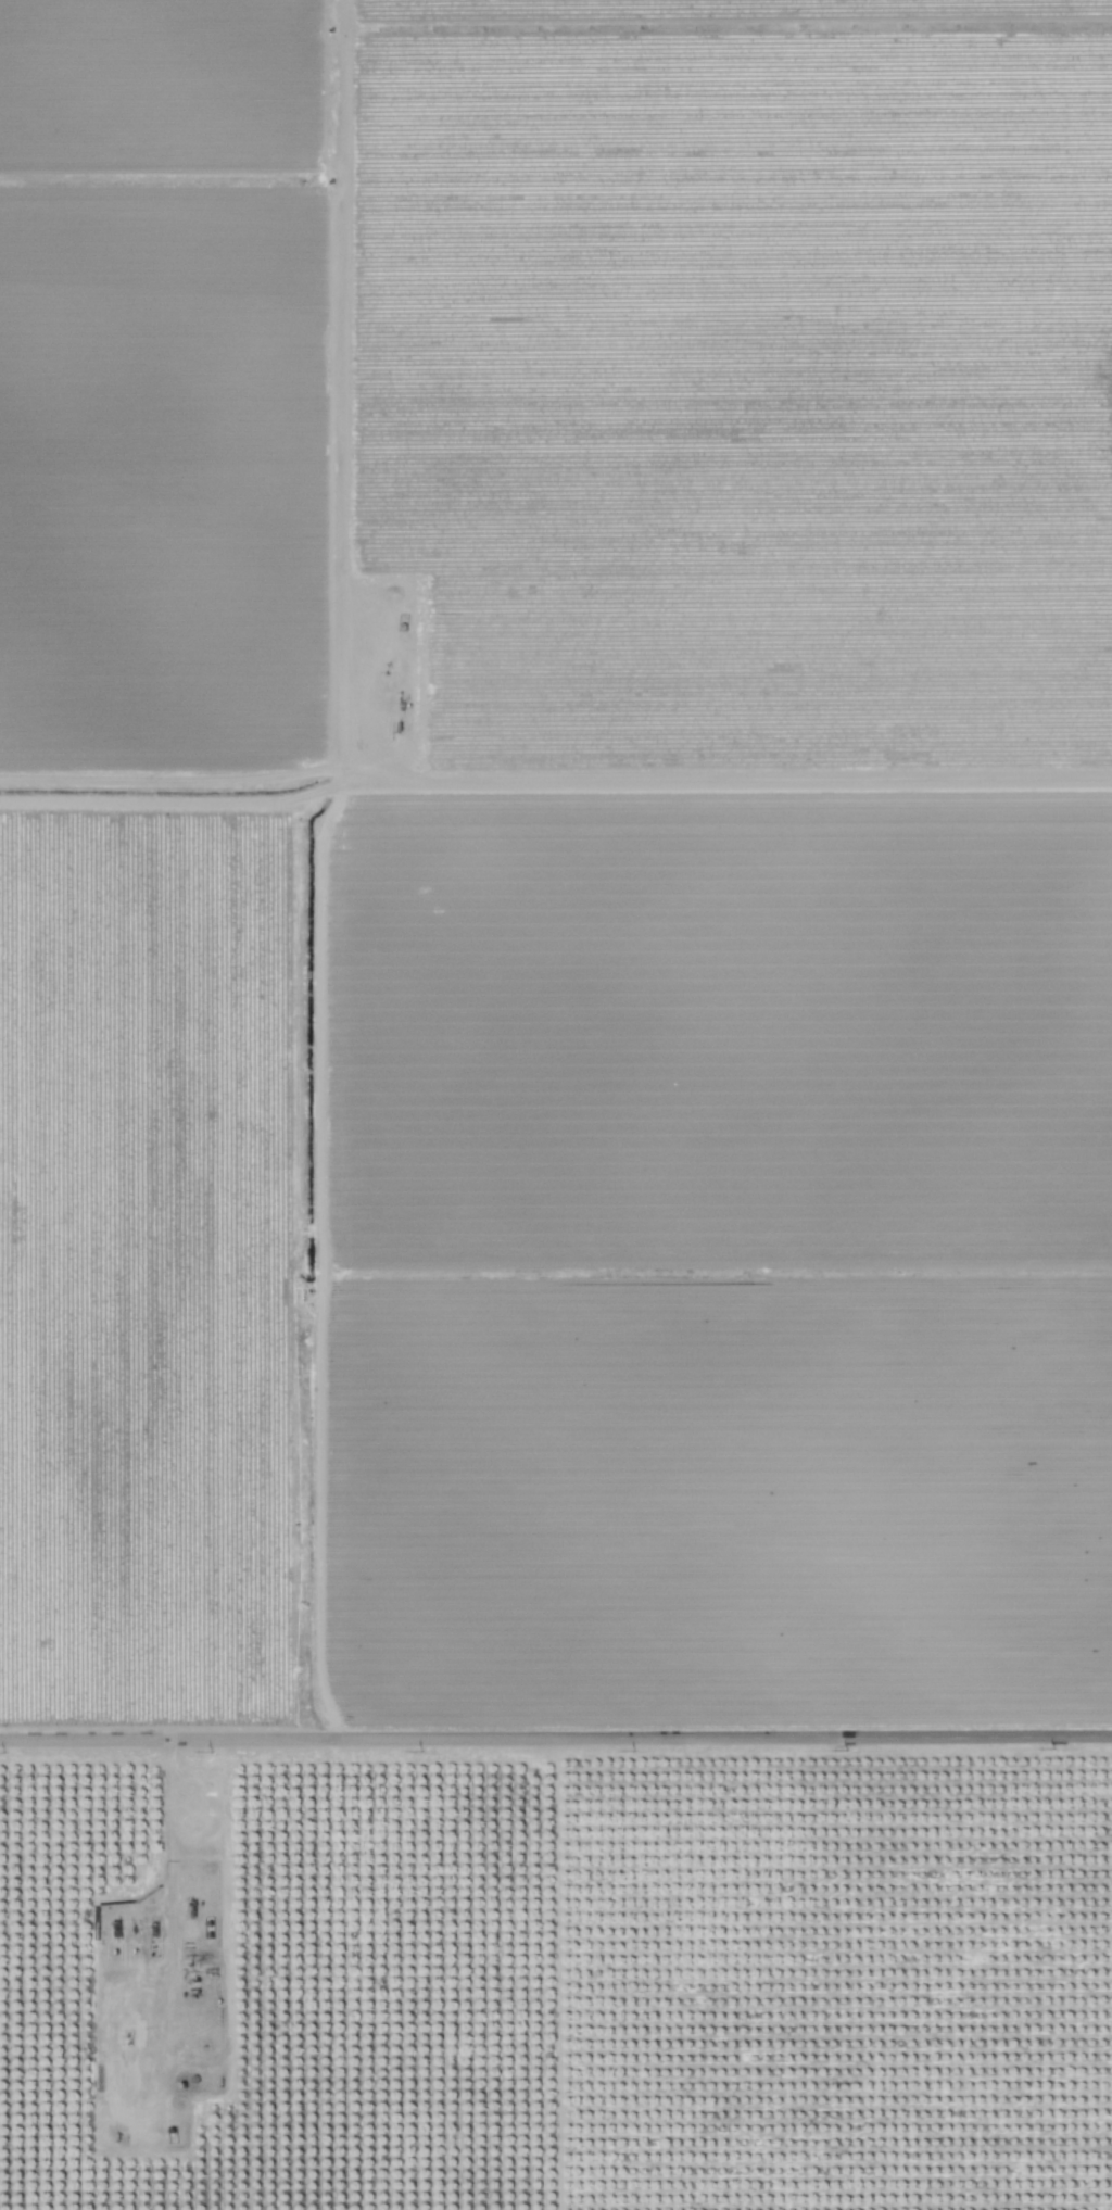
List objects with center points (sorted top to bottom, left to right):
road: (556, 1740)

